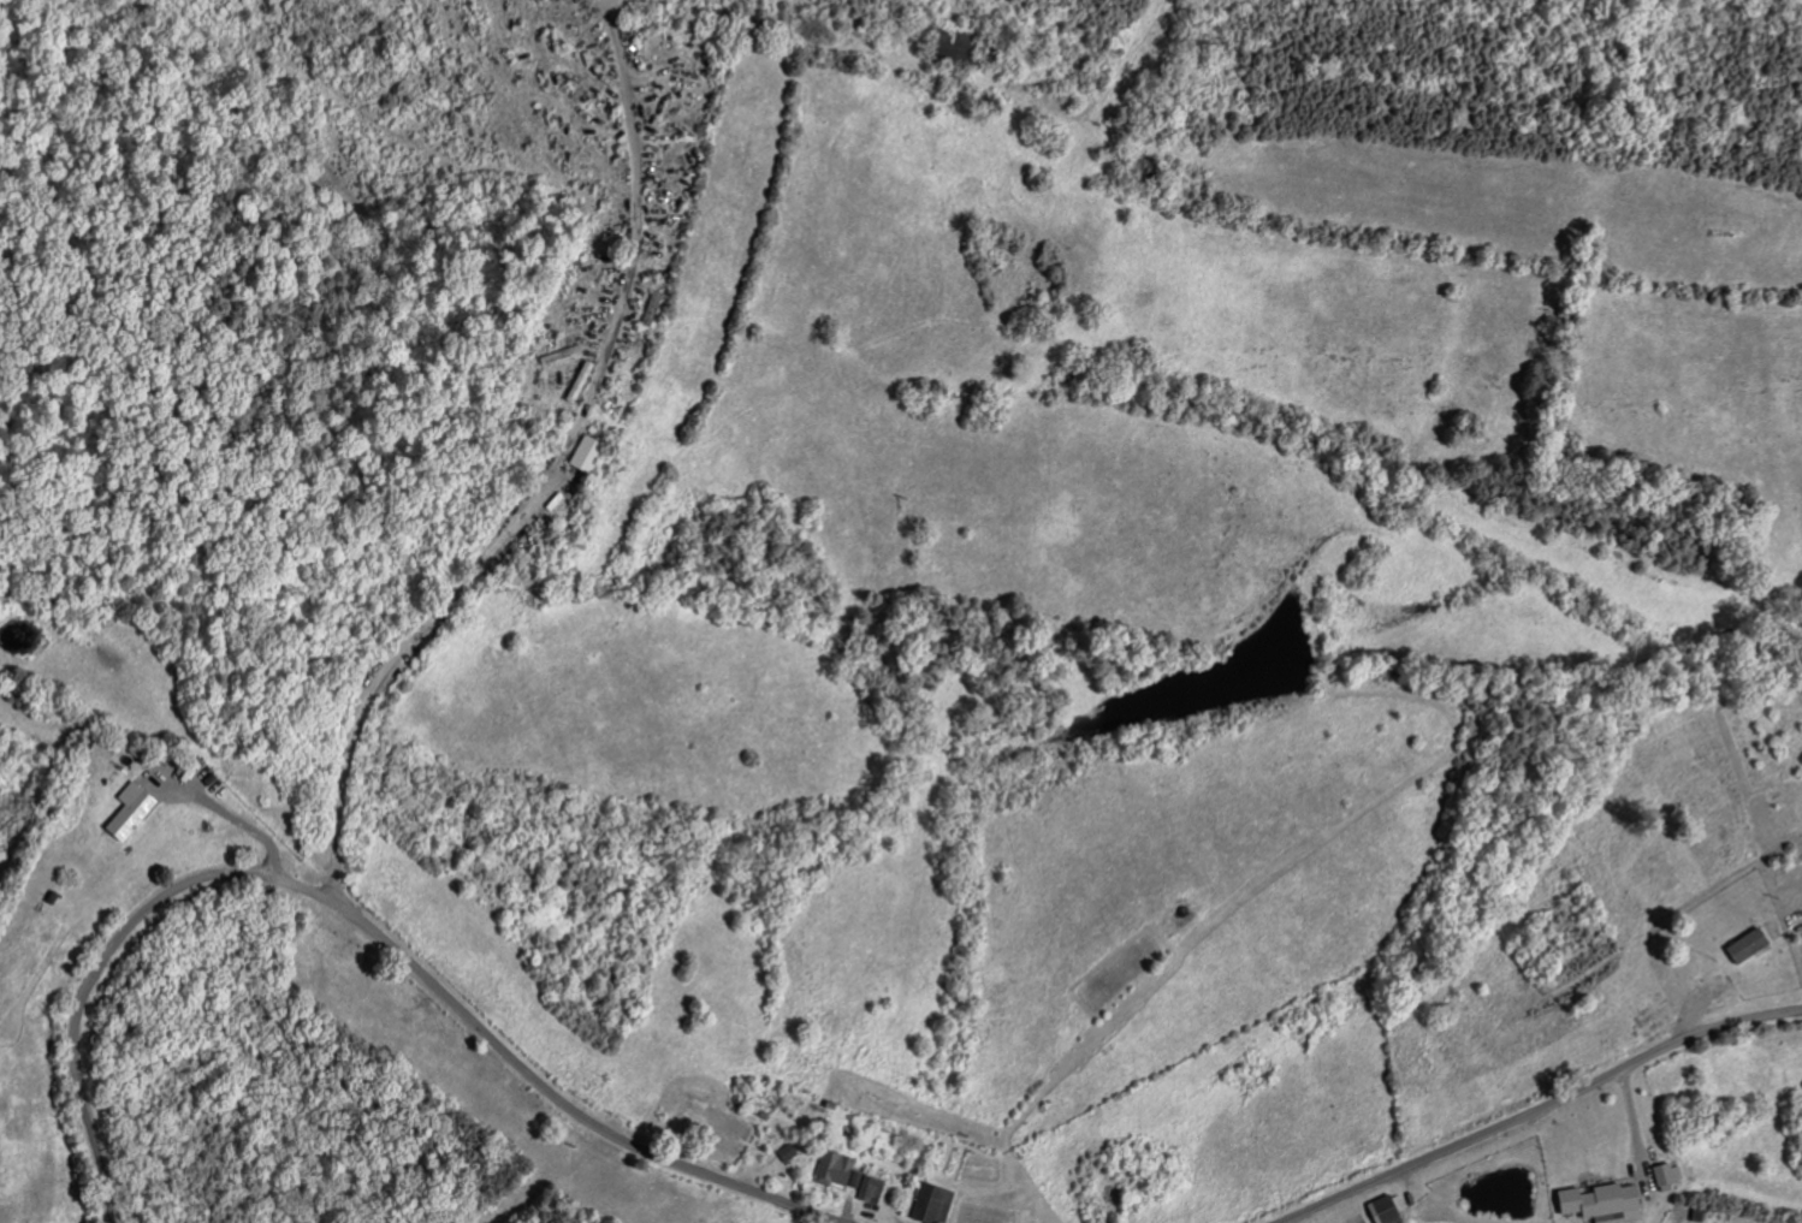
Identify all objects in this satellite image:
road: (546, 474)
building: (135, 814)
road: (231, 815)
road: (361, 922)
building: (1741, 946)
road: (1531, 1111)
building: (783, 1152)
building: (830, 1169)
building: (1661, 1176)
building: (861, 1187)
building: (1595, 1203)
building: (927, 1204)
building: (1377, 1211)

